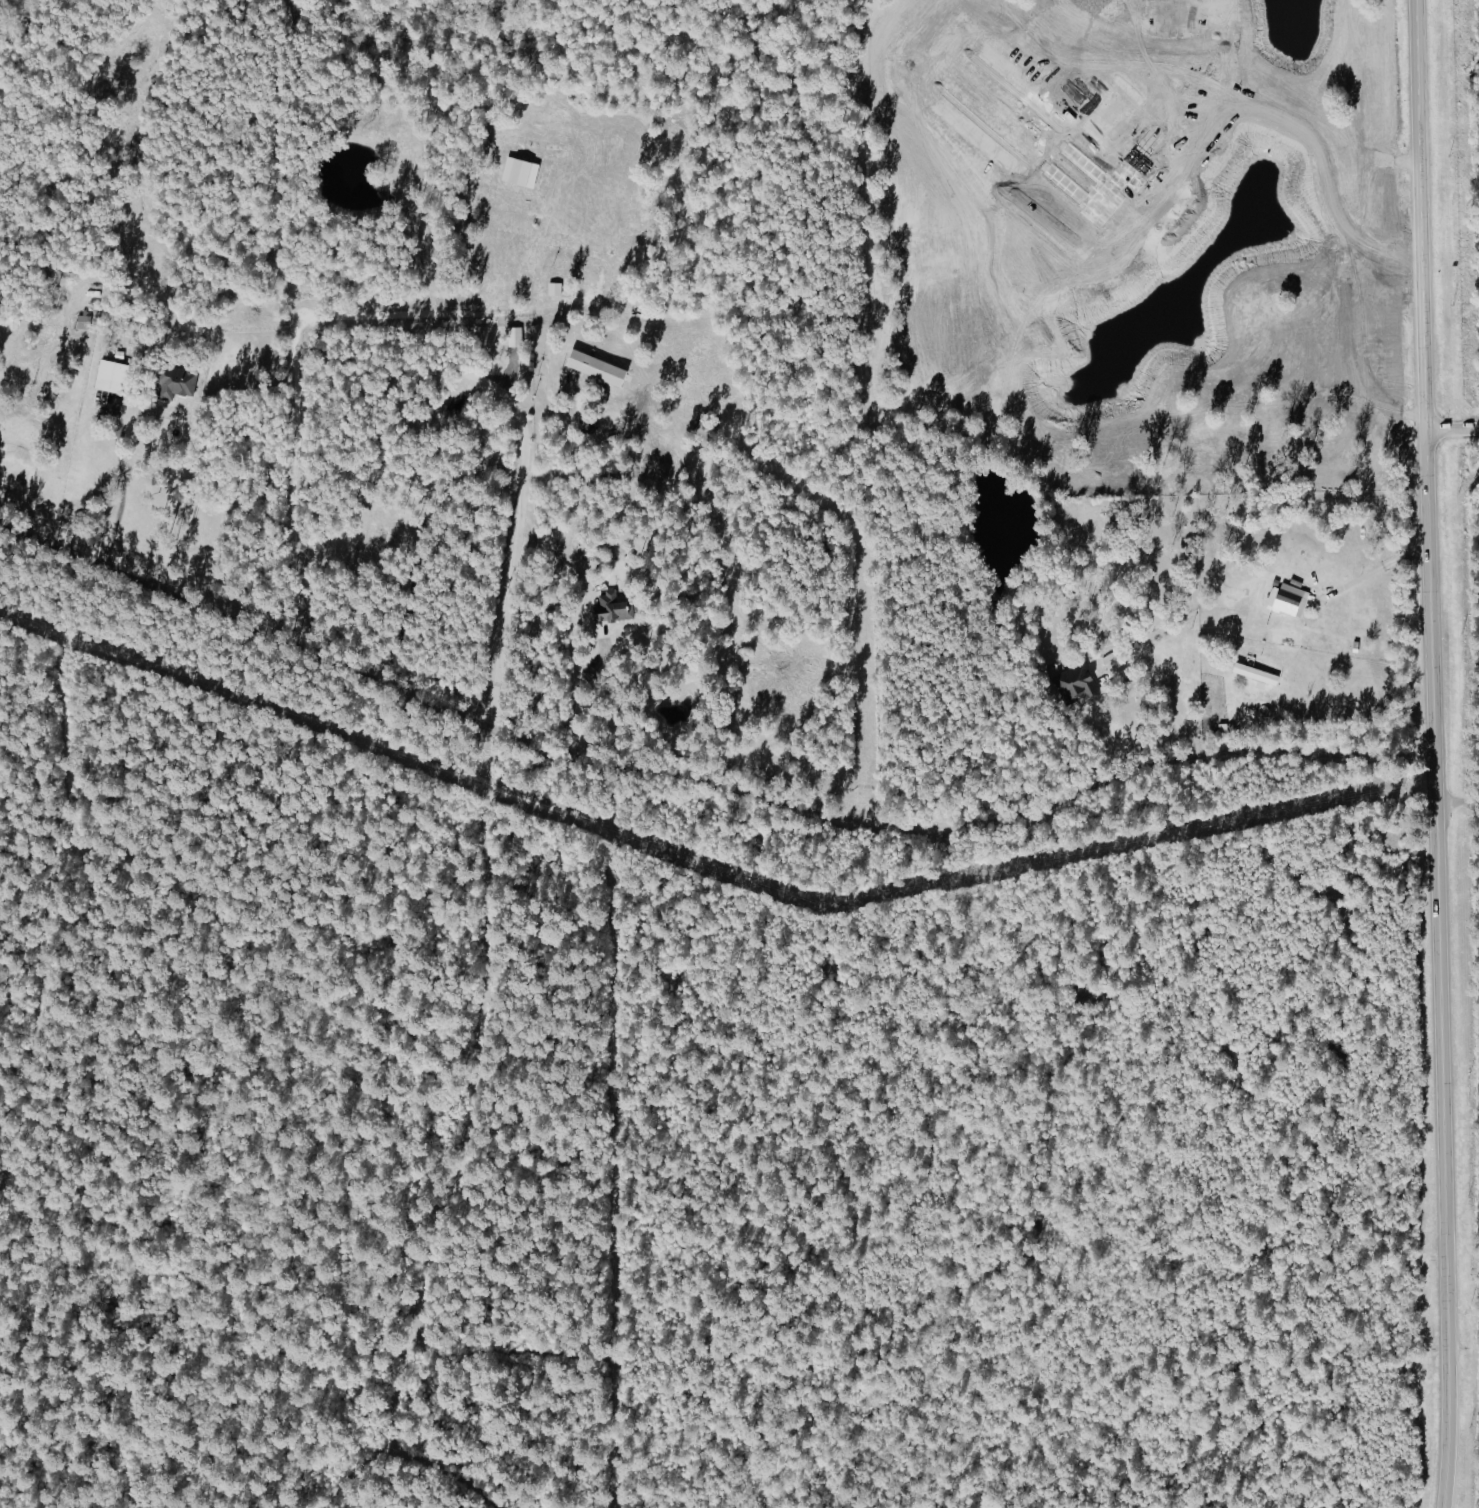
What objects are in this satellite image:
building: (523, 172)
building: (605, 276)
building: (557, 289)
building: (85, 322)
building: (601, 368)
building: (115, 377)
building: (179, 382)
road: (1447, 428)
road: (525, 468)
road: (122, 486)
road: (559, 570)
road: (1373, 581)
building: (1286, 600)
building: (1253, 675)
building: (1075, 684)
road: (1173, 710)
road: (1424, 754)
road: (697, 783)

